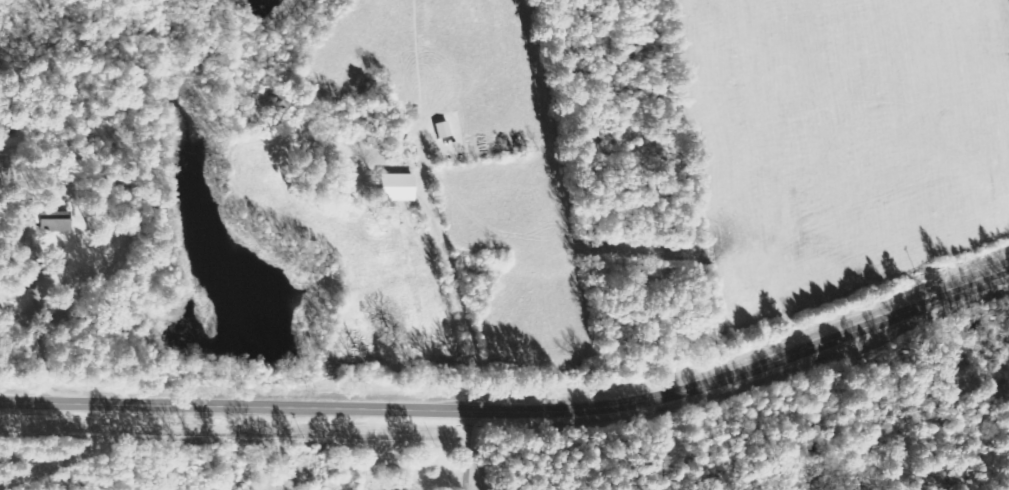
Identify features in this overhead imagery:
building: (357, 180)
building: (59, 220)
road: (452, 275)
road: (515, 408)
road: (468, 448)

